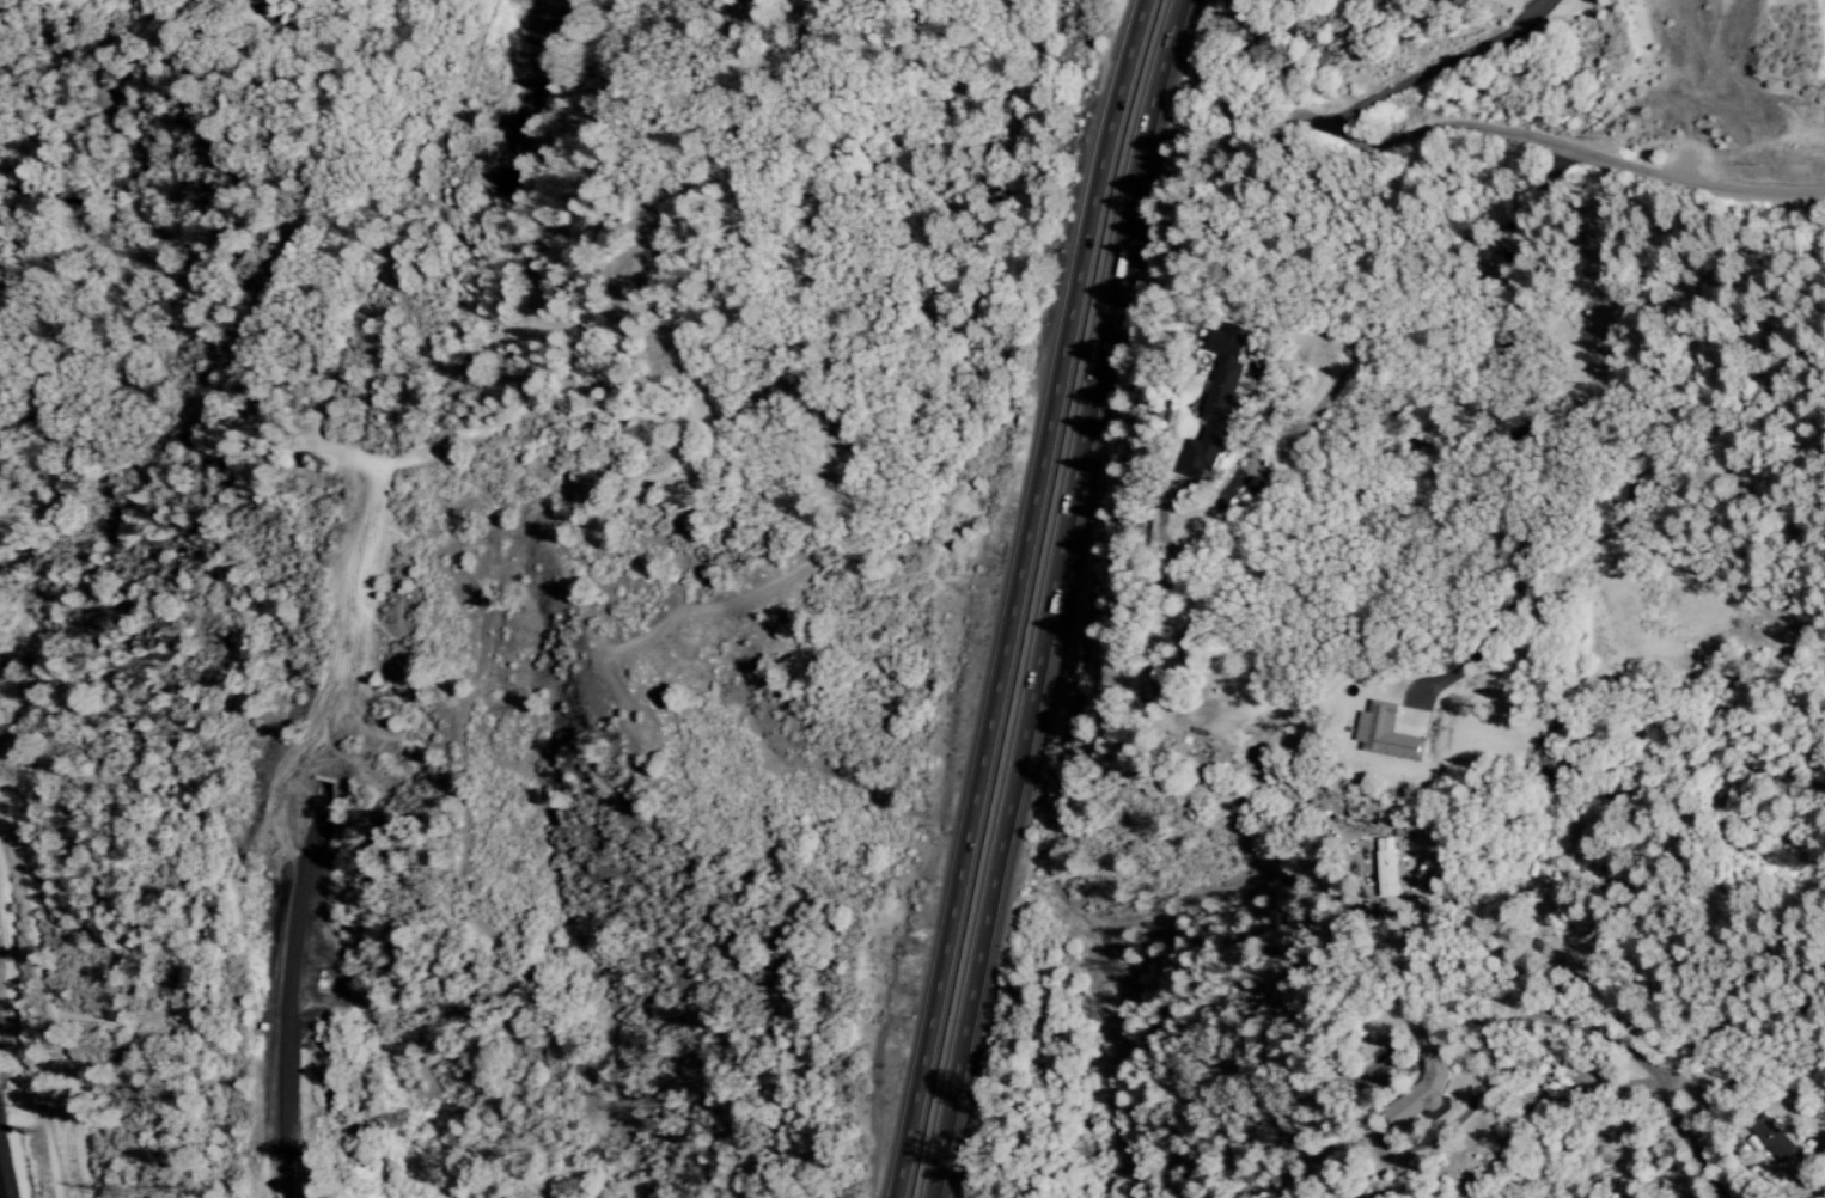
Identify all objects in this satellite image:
road: (756, 60)
railway: (530, 96)
road: (1337, 133)
road: (1709, 188)
building: (1219, 402)
road: (1063, 597)
road: (1023, 598)
building: (1386, 868)
road: (1405, 962)
railway: (293, 988)
road: (1676, 1065)
building: (1561, 1074)
road: (1659, 1081)
building: (1427, 1090)
road: (1714, 1092)
road: (1448, 1130)
building: (1774, 1138)
railway: (5, 1169)

